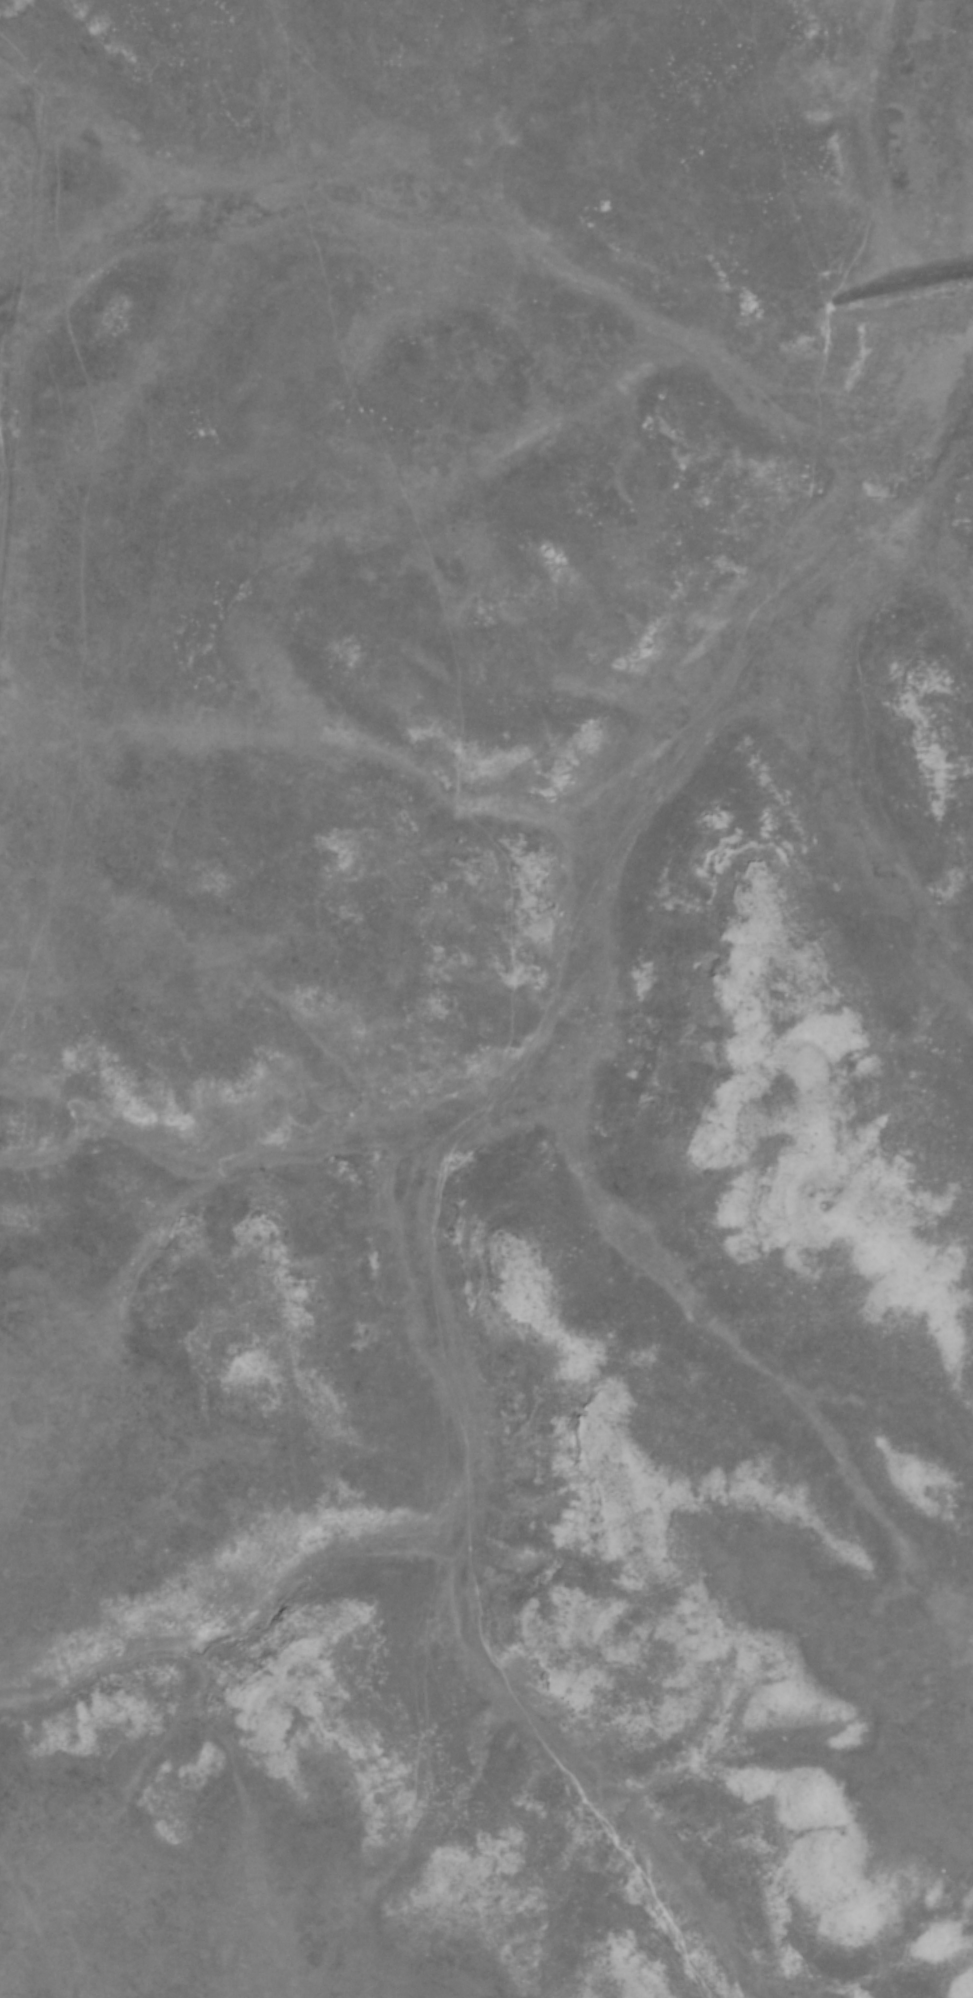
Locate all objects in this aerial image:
dam: (915, 296)

